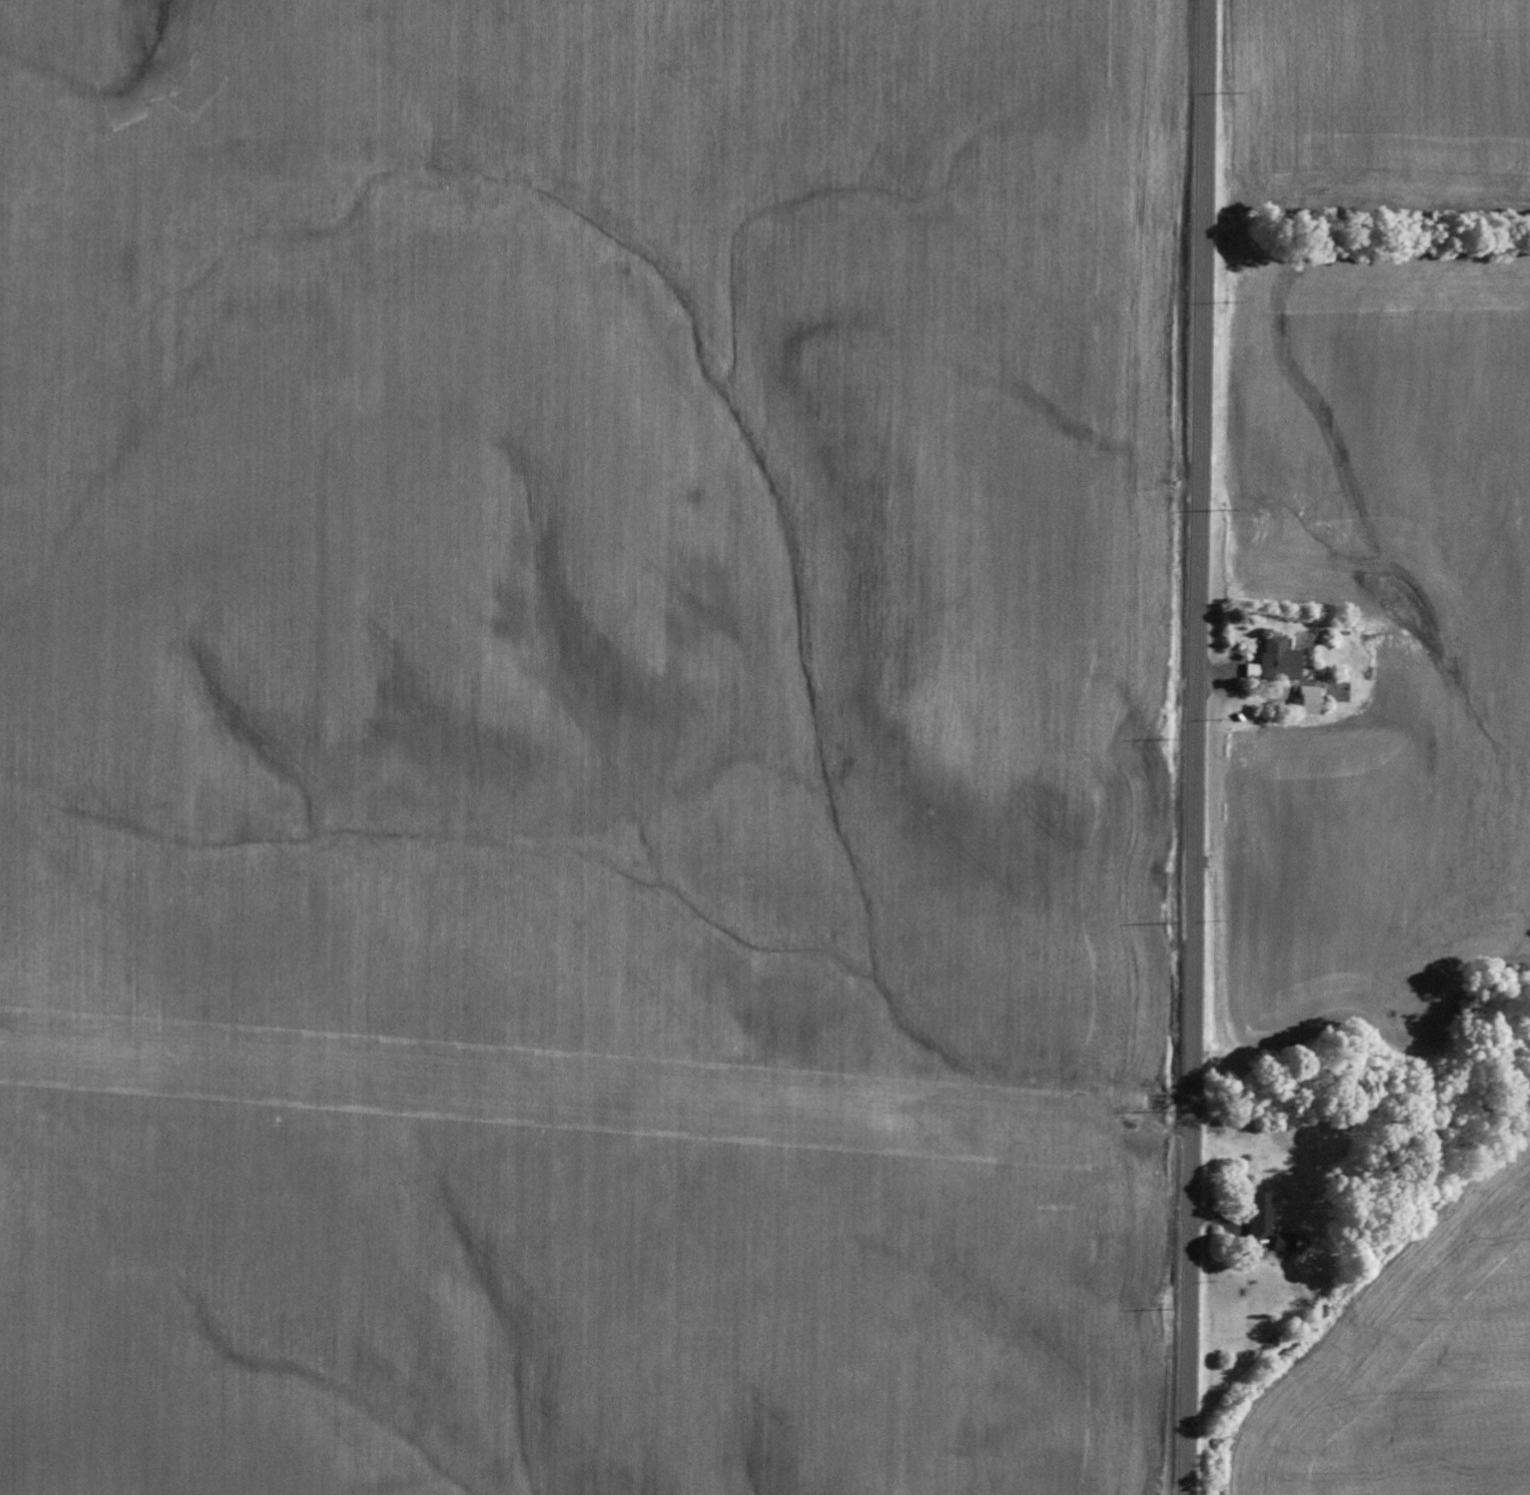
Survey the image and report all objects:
building: (1277, 661)
building: (1311, 700)
road: (1196, 747)
building: (1255, 1215)

